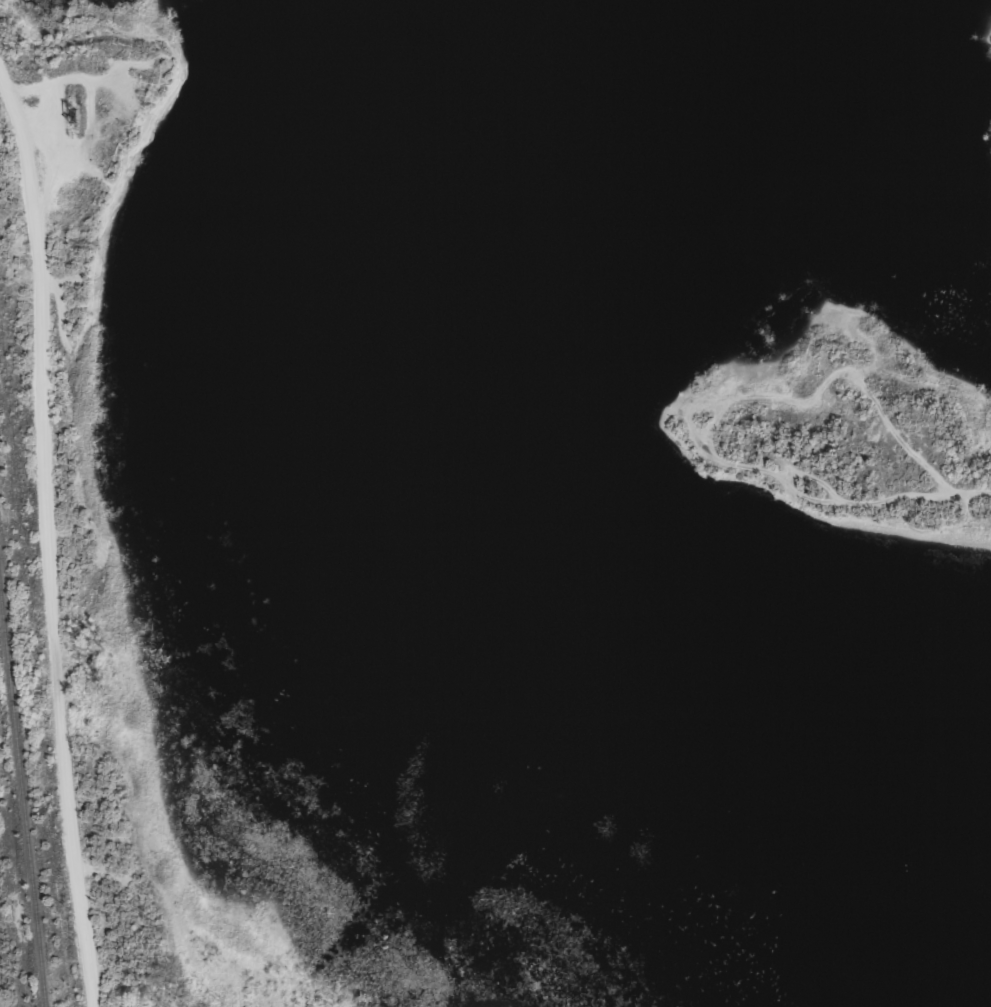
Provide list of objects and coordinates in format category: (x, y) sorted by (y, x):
road: (774, 441)
road: (53, 548)
railway: (21, 814)

